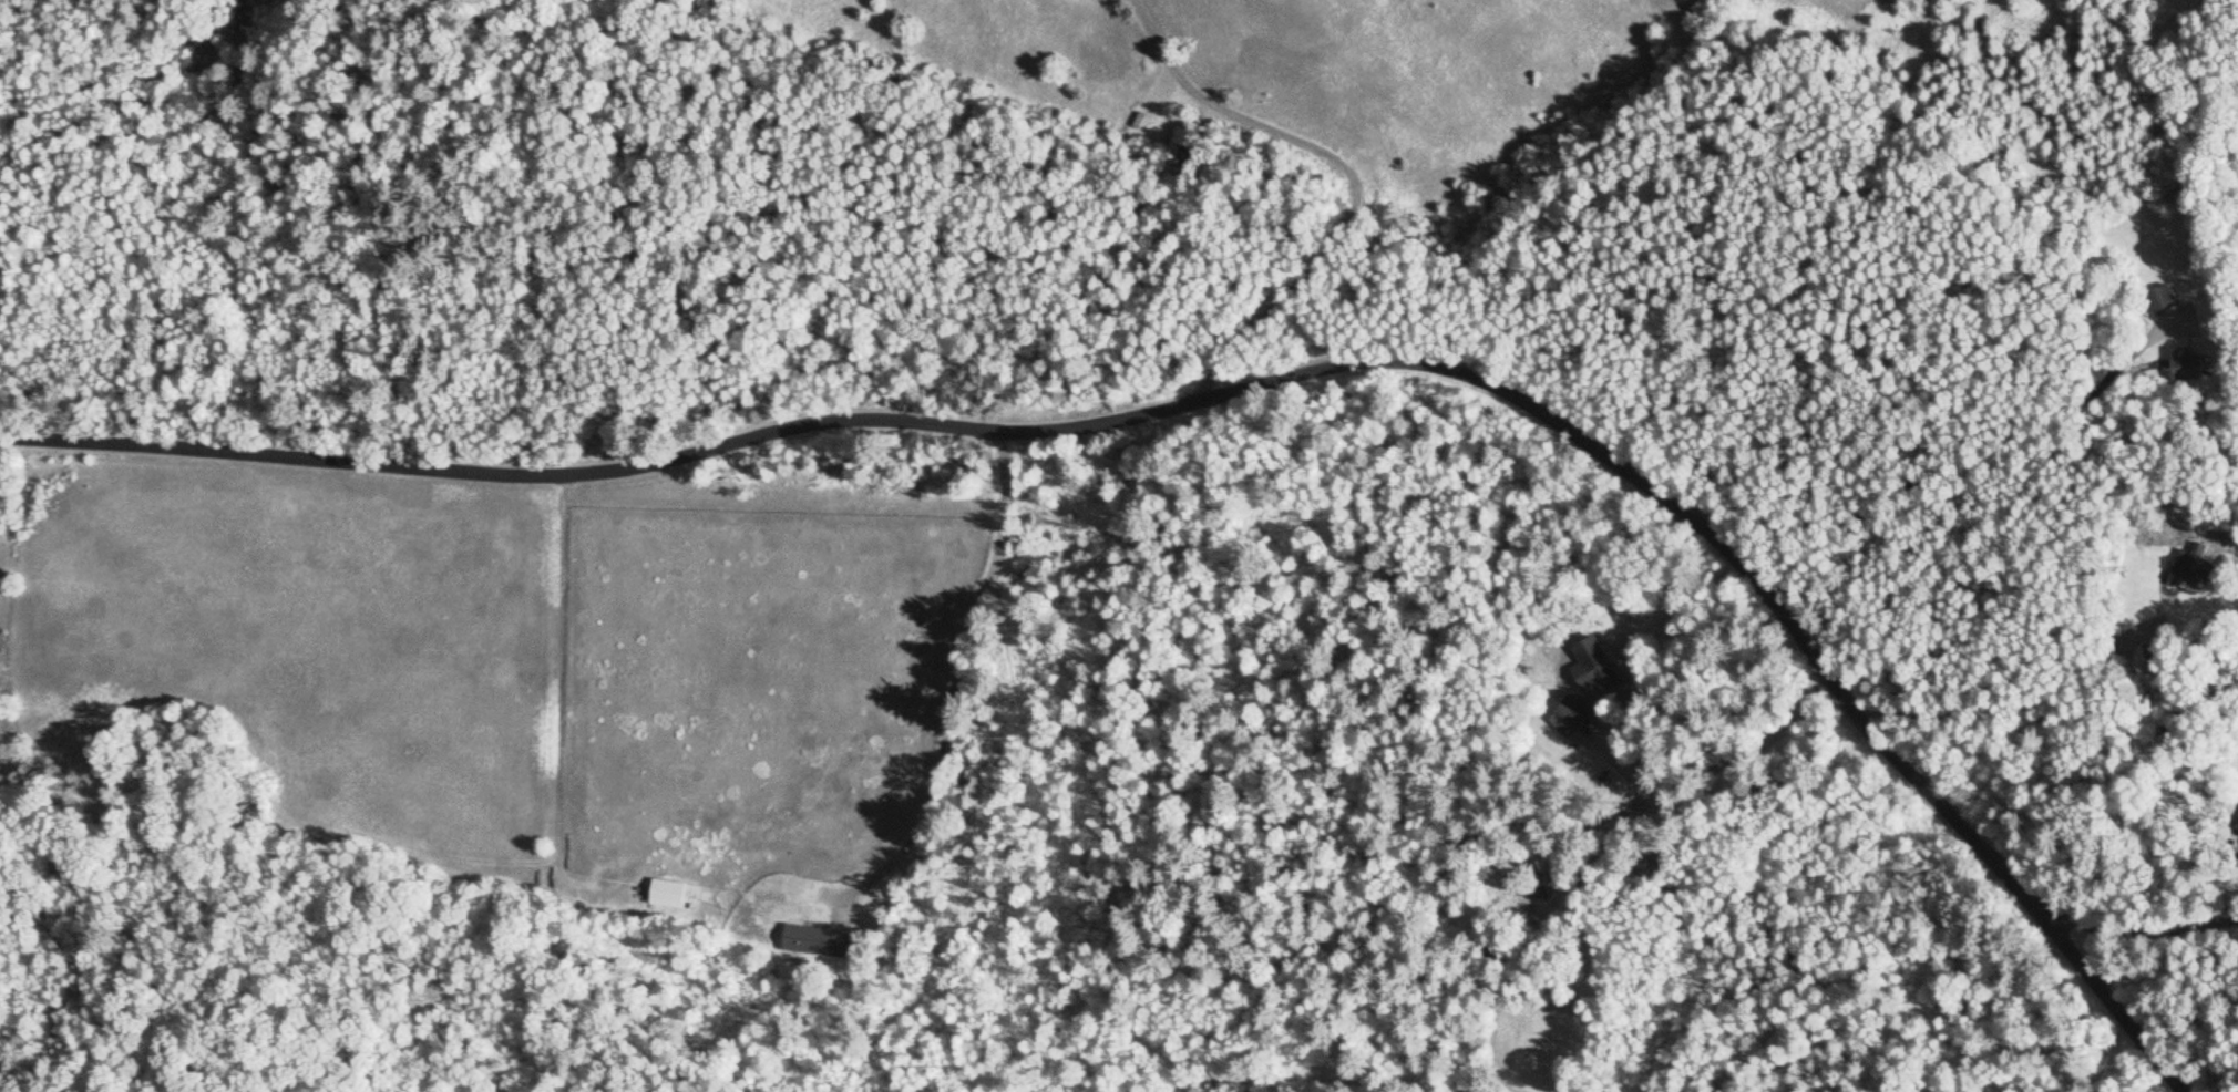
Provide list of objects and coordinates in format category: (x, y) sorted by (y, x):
building: (1182, 151)
road: (1346, 178)
building: (2162, 301)
building: (2190, 367)
road: (1238, 390)
building: (2193, 575)
building: (1595, 659)
road: (951, 671)
building: (1563, 724)
building: (1540, 892)
building: (666, 896)
building: (812, 945)

